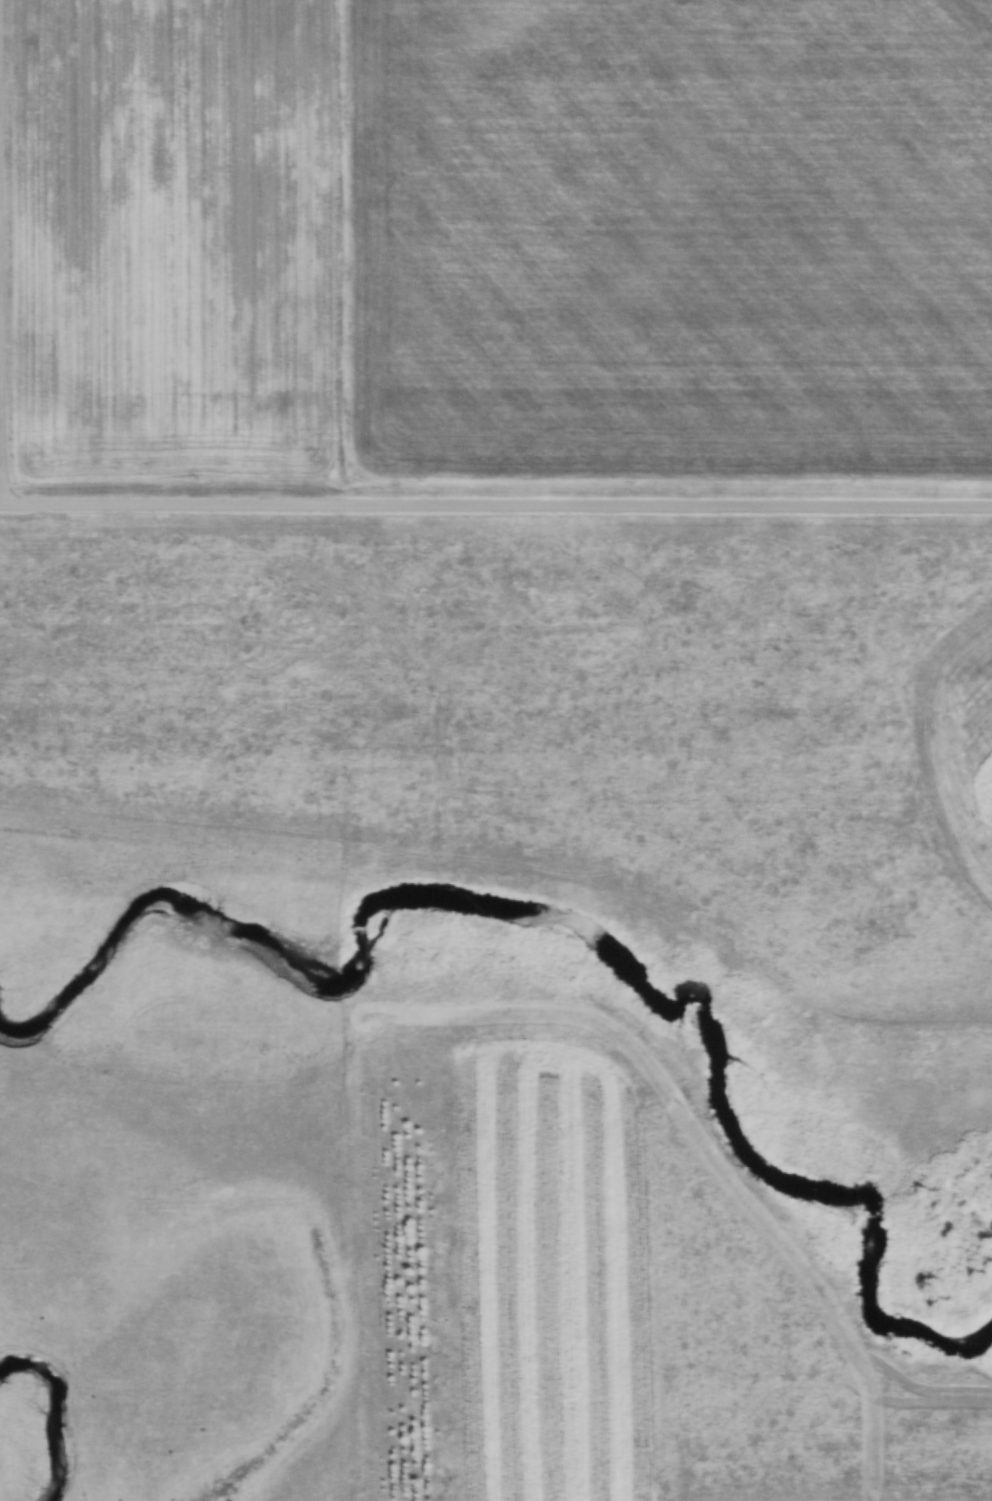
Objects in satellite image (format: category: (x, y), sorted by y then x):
road: (2, 249)
road: (495, 501)

